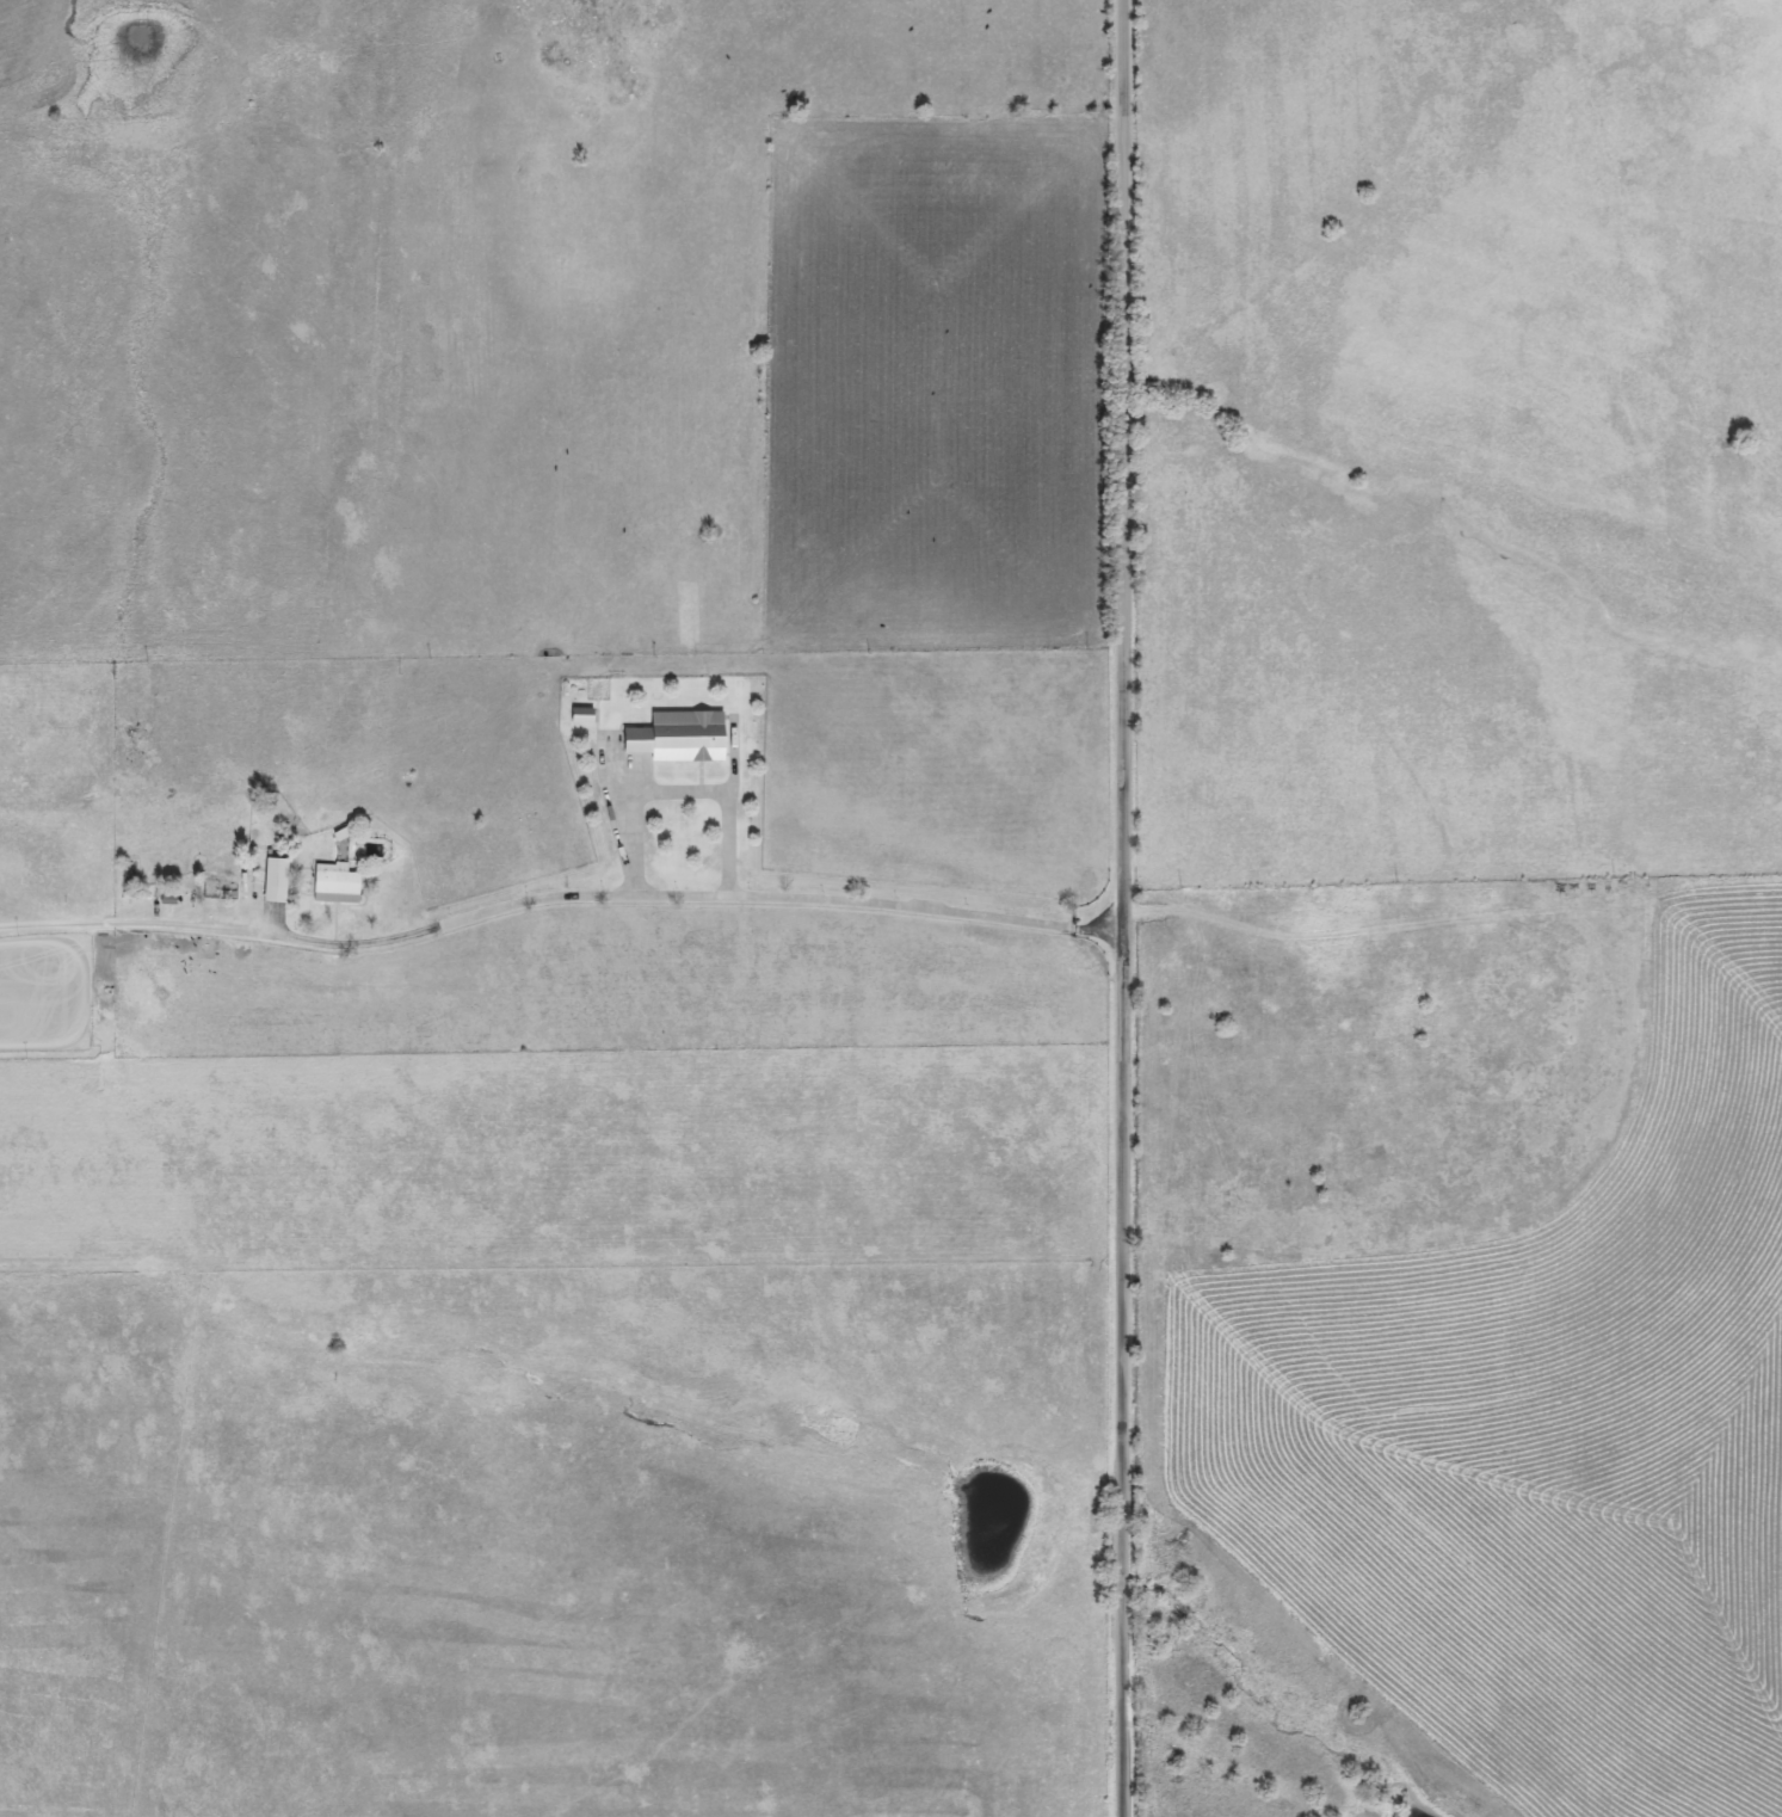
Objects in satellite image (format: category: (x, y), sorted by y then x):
building: (578, 716)
building: (674, 738)
road: (676, 788)
building: (273, 871)
road: (556, 883)
building: (332, 885)
road: (1118, 908)
road: (584, 1146)

